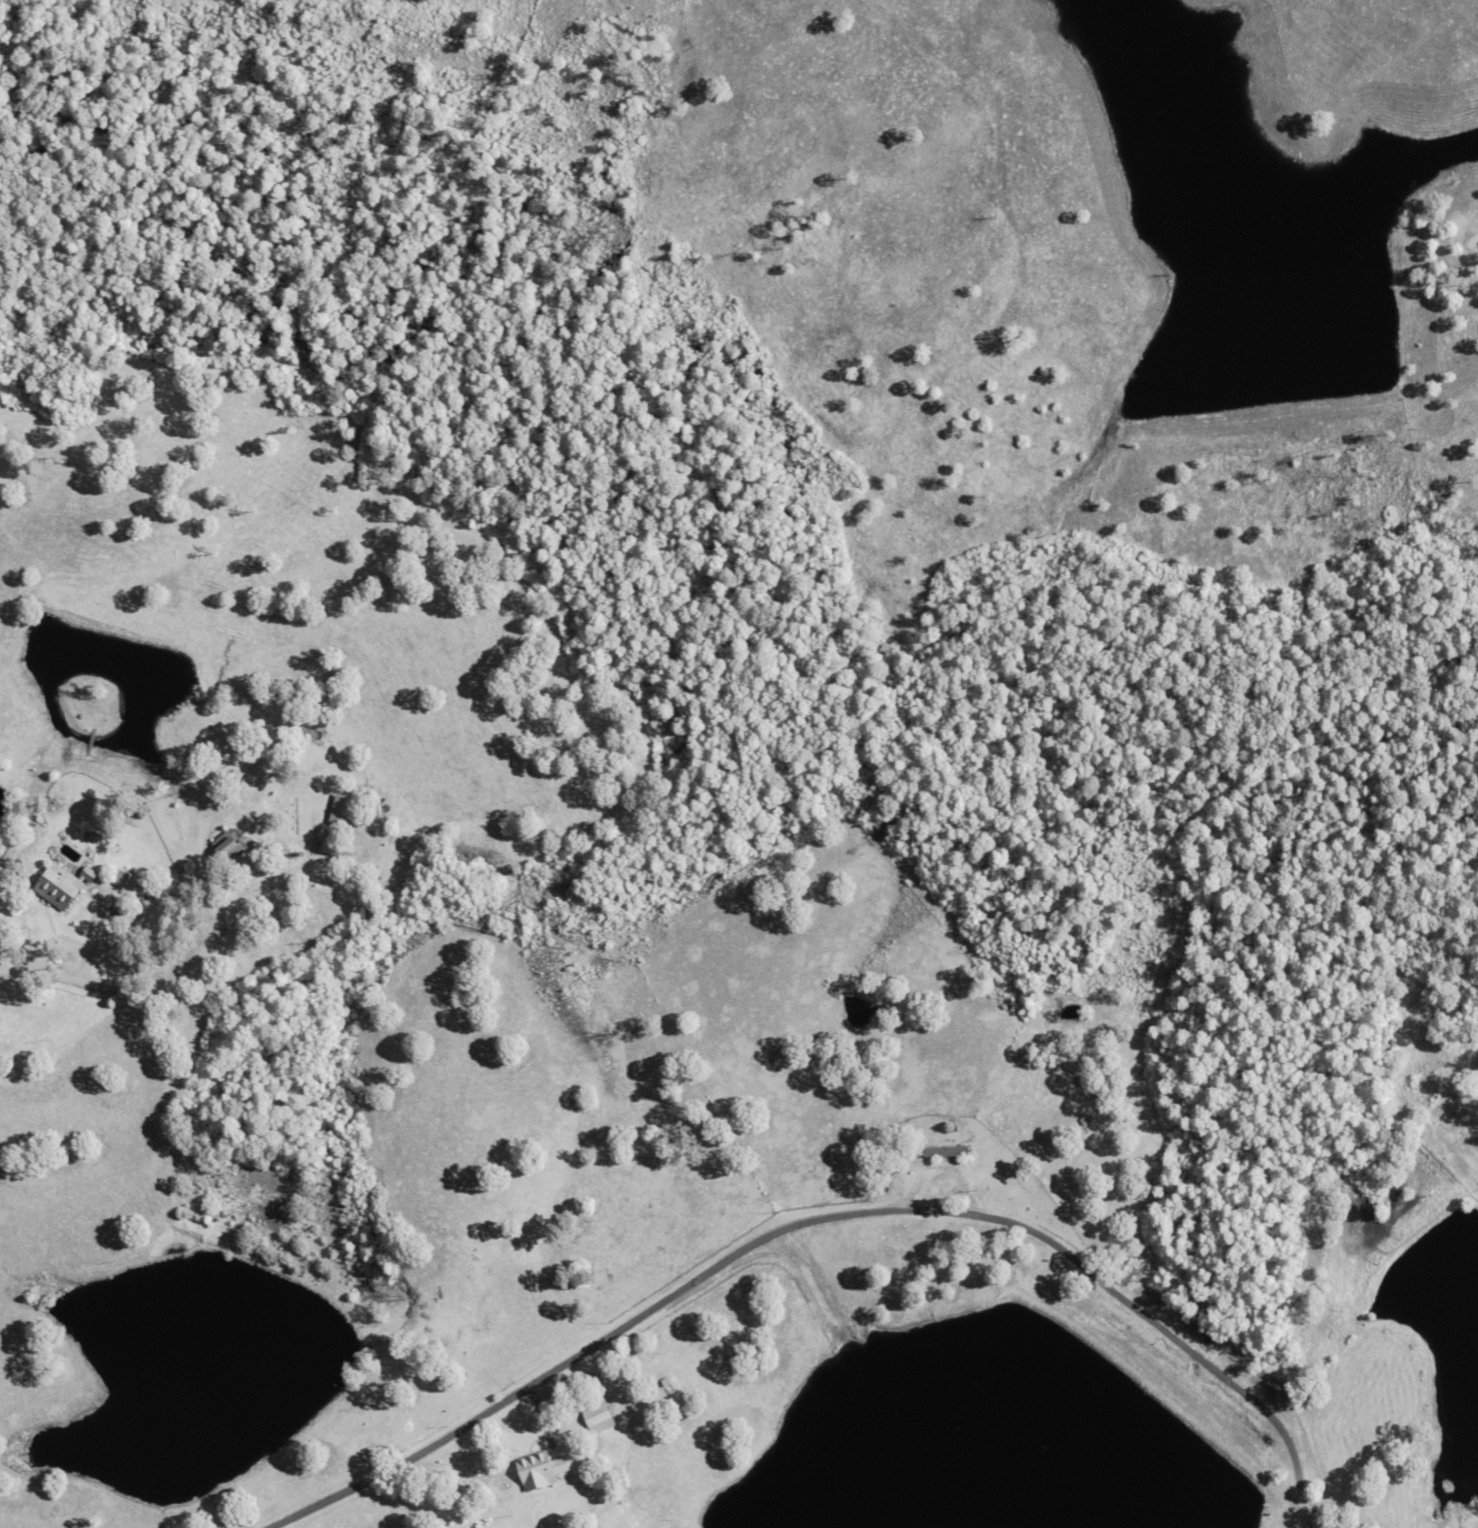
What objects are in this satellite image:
building: (340, 809)
building: (225, 845)
building: (58, 883)
building: (942, 1151)
road: (823, 1217)
dam: (1158, 1390)
building: (596, 1416)
building: (539, 1470)

